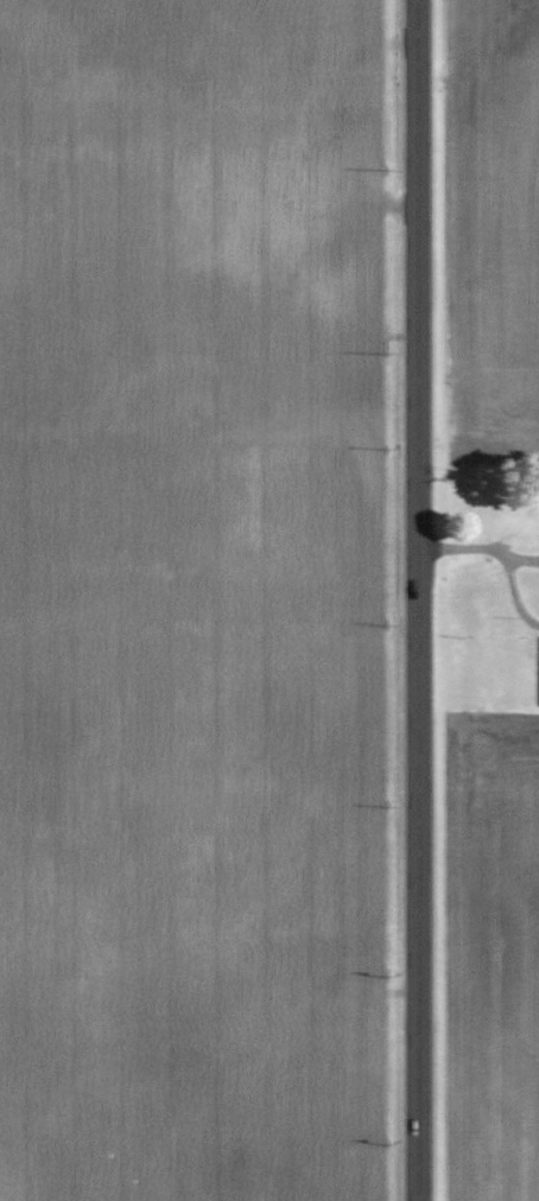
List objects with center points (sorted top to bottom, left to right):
road: (414, 600)

